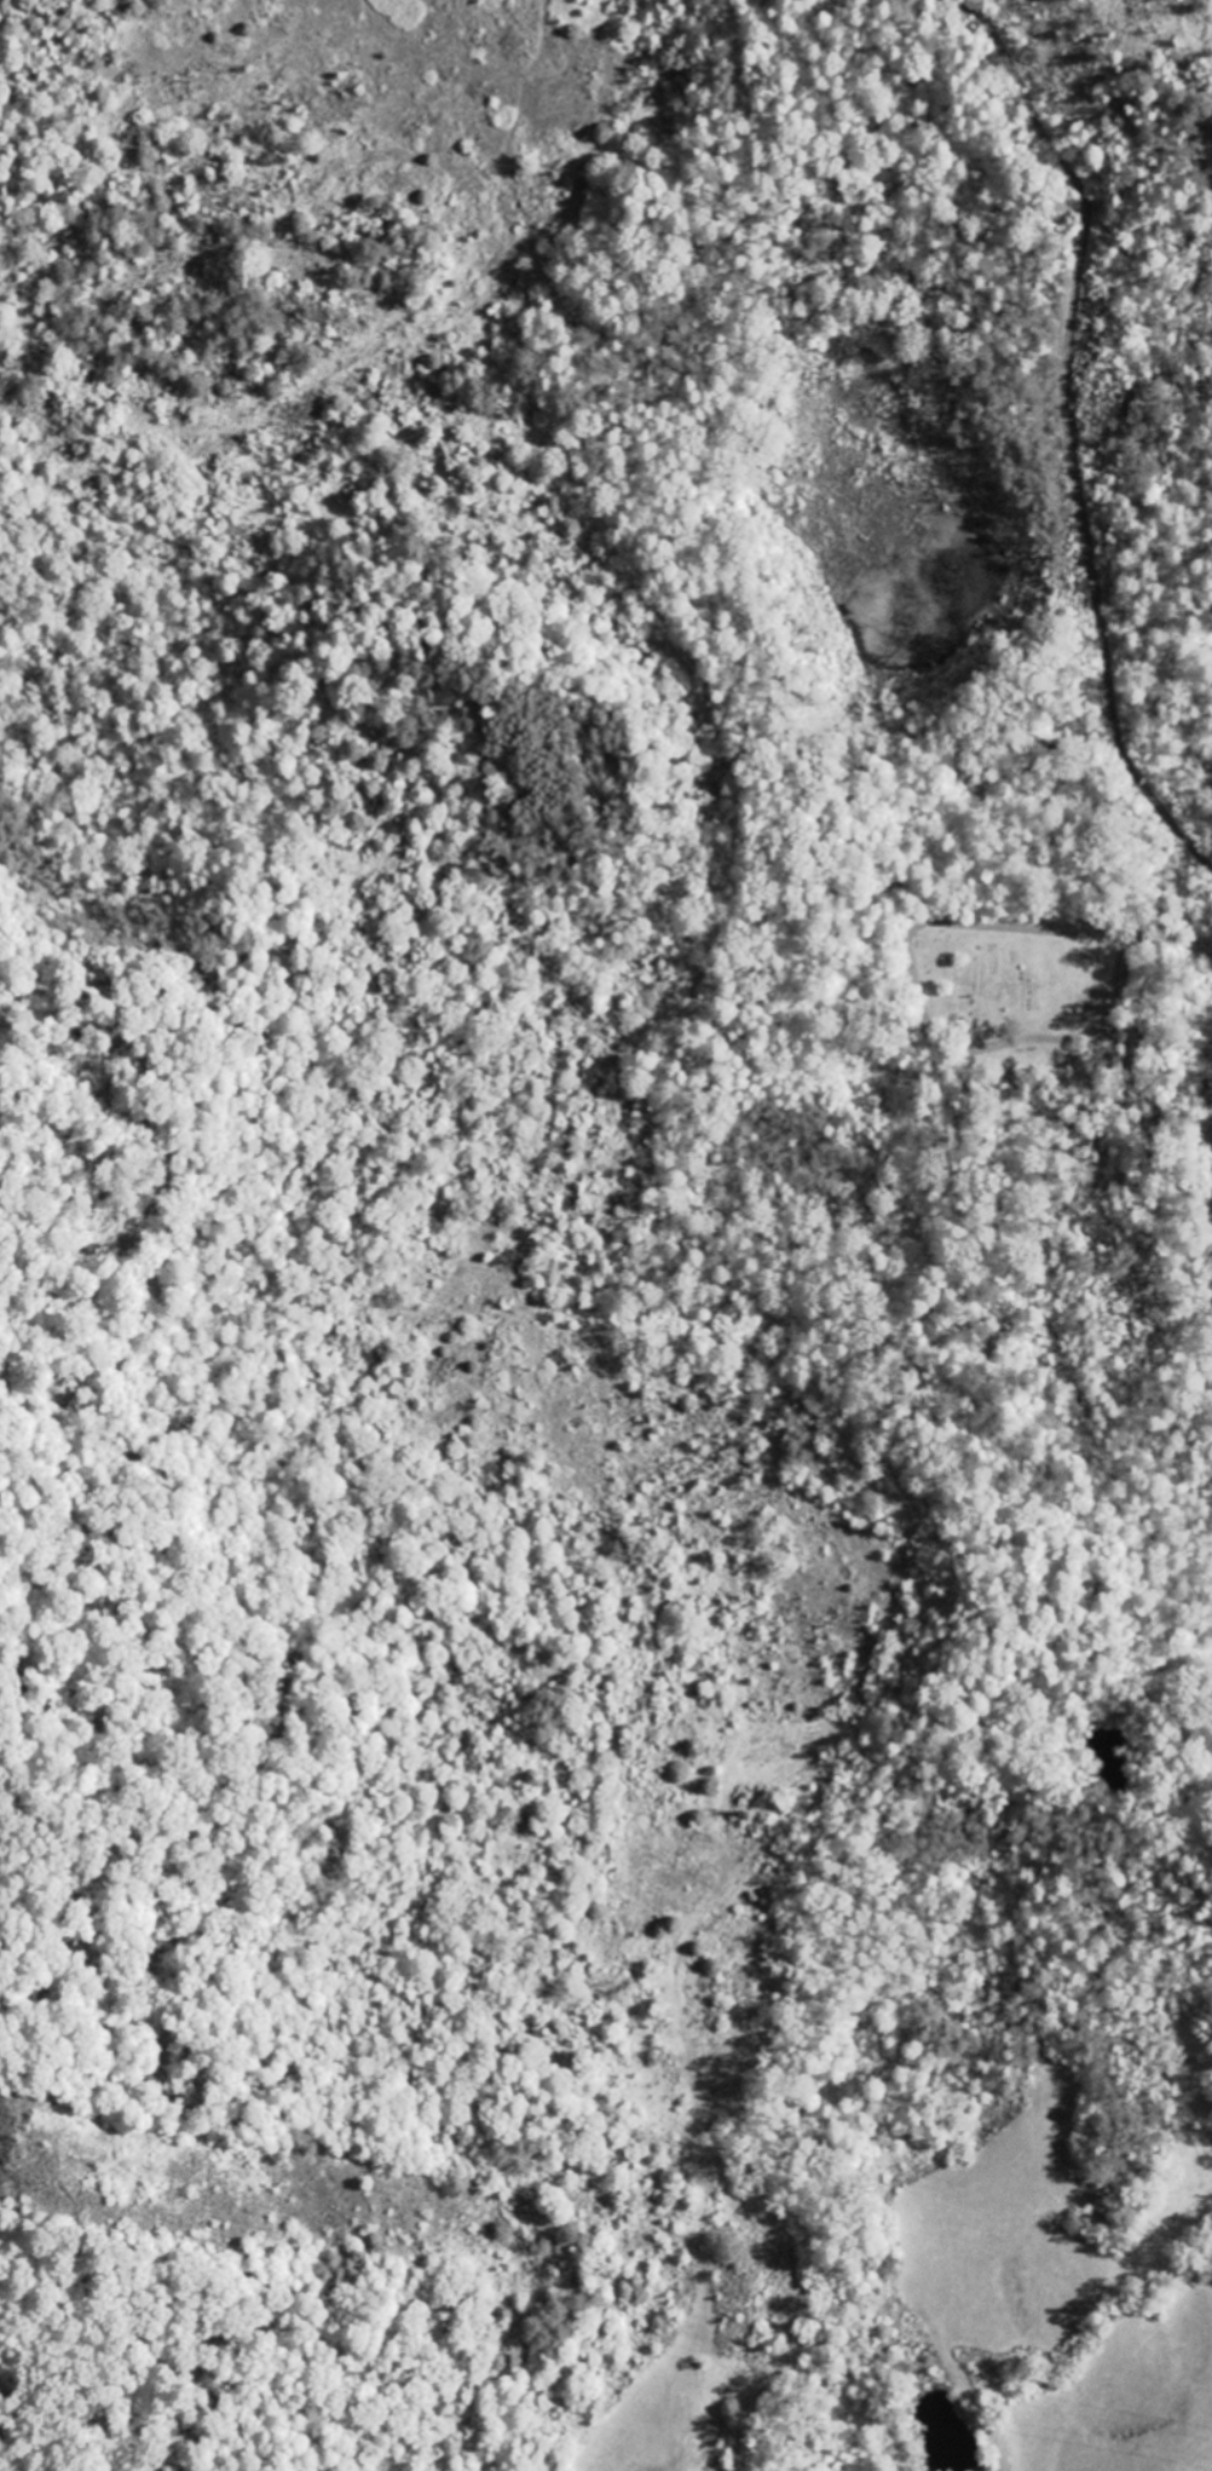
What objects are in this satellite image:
road: (1118, 990)

